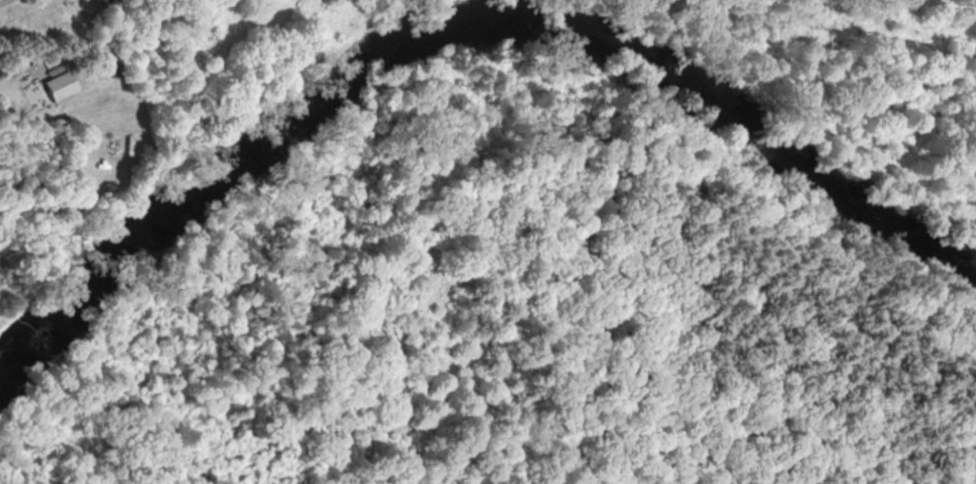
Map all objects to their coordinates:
building: (109, 2)
river: (453, 31)
building: (63, 81)

